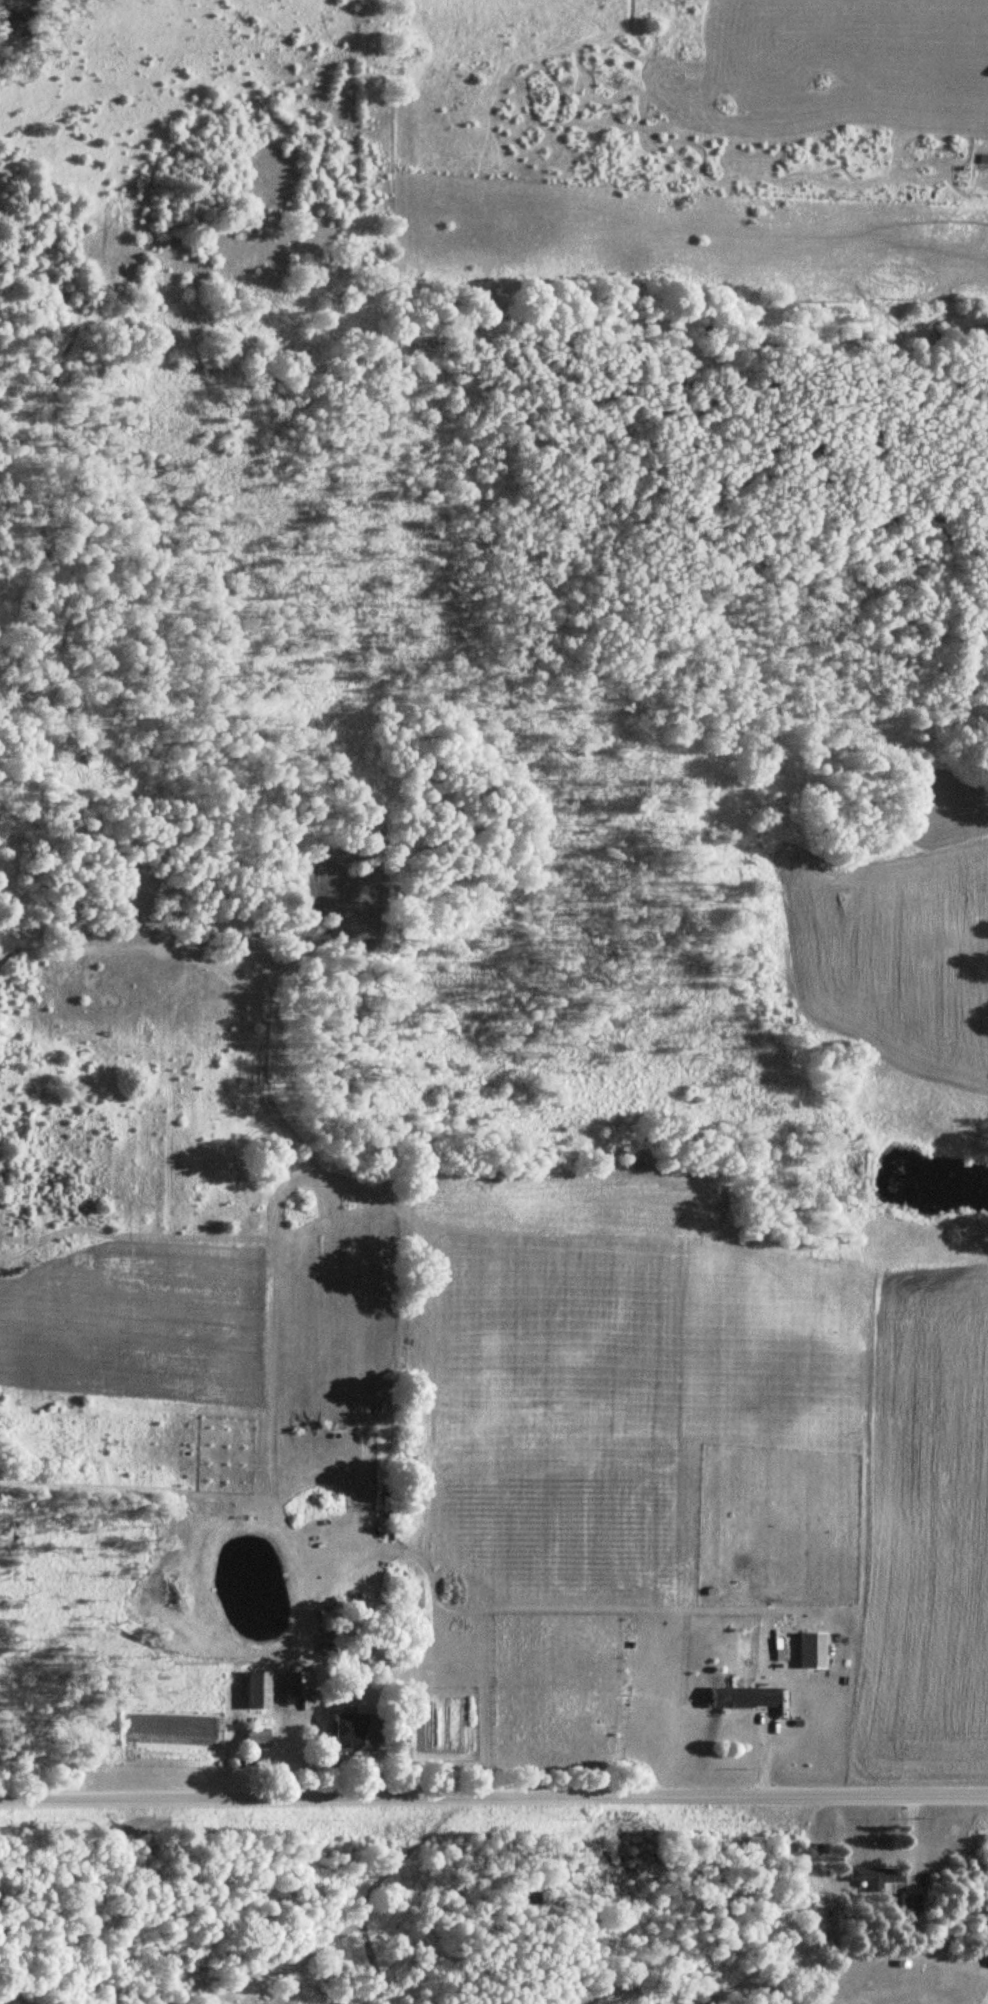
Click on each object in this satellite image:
building: (808, 1650)
building: (297, 1684)
building: (252, 1690)
building: (738, 1697)
building: (349, 1732)
building: (254, 1737)
road: (494, 1799)
building: (873, 1874)
building: (907, 1902)

